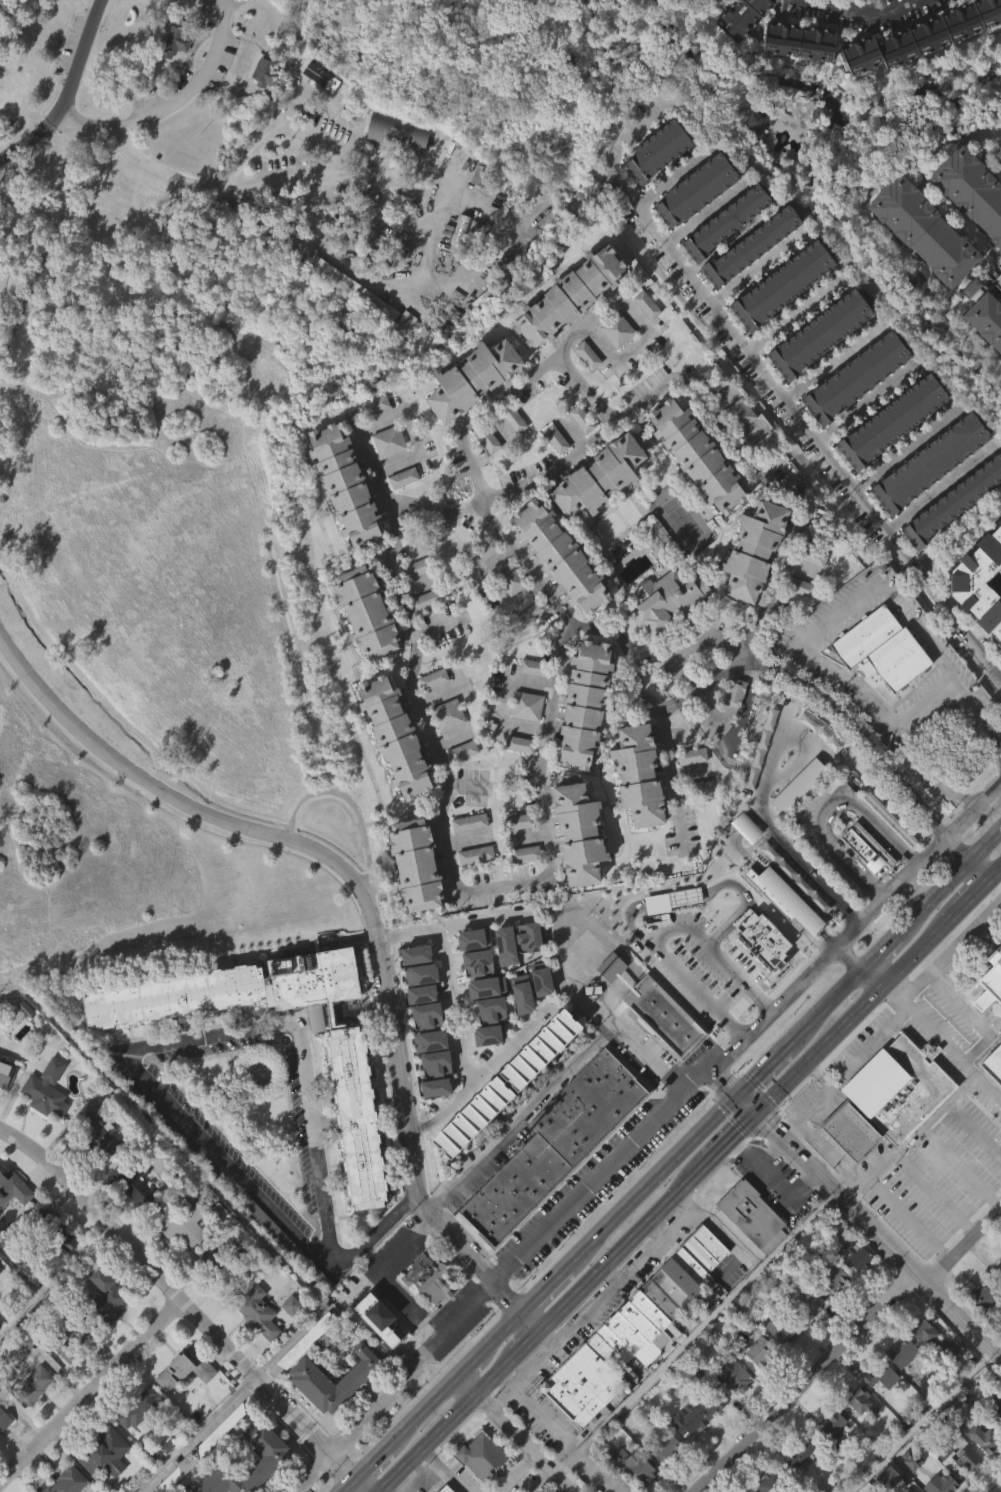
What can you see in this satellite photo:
road: (229, 4)
building: (806, 4)
road: (862, 9)
pier: (6, 10)
building: (741, 16)
building: (920, 34)
building: (173, 38)
building: (799, 40)
building: (746, 41)
road: (78, 63)
building: (921, 68)
building: (264, 71)
building: (796, 75)
building: (173, 76)
road: (173, 104)
building: (262, 107)
building: (317, 111)
building: (756, 121)
road: (627, 129)
building: (395, 133)
road: (25, 139)
building: (660, 151)
building: (756, 155)
building: (1000, 155)
building: (394, 168)
building: (484, 172)
road: (672, 176)
road: (304, 180)
building: (655, 185)
building: (970, 189)
building: (699, 191)
building: (478, 210)
road: (703, 214)
building: (692, 225)
building: (459, 228)
building: (921, 229)
road: (47, 241)
building: (754, 247)
building: (723, 256)
road: (424, 258)
building: (457, 263)
building: (921, 265)
road: (753, 272)
building: (748, 279)
building: (997, 280)
building: (784, 286)
building: (569, 297)
building: (483, 300)
building: (645, 304)
road: (793, 316)
building: (779, 319)
building: (985, 319)
building: (351, 323)
building: (616, 329)
building: (566, 330)
building: (481, 333)
building: (819, 334)
building: (644, 338)
road: (633, 346)
road: (567, 352)
building: (585, 354)
building: (985, 354)
road: (829, 360)
building: (614, 363)
building: (817, 368)
building: (856, 377)
building: (476, 379)
building: (712, 384)
building: (584, 389)
road: (863, 404)
building: (372, 405)
road: (478, 410)
building: (471, 411)
building: (853, 411)
building: (736, 415)
building: (712, 416)
building: (512, 418)
park: (229, 419)
building: (580, 419)
building: (893, 420)
road: (808, 428)
road: (408, 431)
building: (371, 438)
building: (486, 438)
building: (554, 439)
building: (387, 441)
road: (905, 446)
building: (737, 447)
building: (759, 447)
building: (579, 452)
building: (511, 453)
building: (699, 455)
building: (889, 455)
building: (928, 464)
road: (753, 469)
building: (485, 472)
building: (553, 472)
building: (604, 473)
building: (386, 475)
building: (402, 478)
building: (348, 483)
road: (937, 485)
building: (694, 489)
building: (927, 497)
road: (395, 502)
building: (951, 503)
building: (598, 508)
building: (400, 511)
building: (343, 519)
road: (961, 532)
building: (950, 536)
building: (758, 548)
building: (483, 552)
building: (565, 555)
building: (811, 556)
road: (528, 565)
building: (411, 570)
building: (511, 579)
building: (1000, 581)
building: (978, 585)
building: (478, 587)
building: (799, 587)
building: (558, 589)
building: (669, 598)
building: (425, 600)
building: (410, 603)
building: (368, 610)
building: (507, 613)
building: (530, 613)
road: (480, 620)
building: (797, 620)
building: (665, 631)
building: (423, 633)
road: (800, 639)
road: (753, 642)
road: (696, 644)
building: (364, 645)
building: (526, 648)
building: (881, 648)
building: (532, 667)
building: (434, 678)
building: (878, 682)
building: (736, 692)
road: (505, 702)
building: (588, 703)
building: (527, 705)
building: (430, 712)
building: (448, 714)
road: (979, 716)
road: (851, 724)
building: (732, 725)
building: (398, 736)
building: (520, 743)
building: (445, 748)
building: (463, 750)
building: (691, 756)
building: (393, 769)
building: (517, 777)
building: (641, 777)
road: (668, 779)
building: (460, 784)
road: (938, 785)
building: (696, 787)
road: (826, 804)
building: (518, 820)
building: (699, 820)
building: (796, 820)
building: (468, 821)
road: (769, 828)
building: (583, 834)
building: (867, 850)
building: (886, 852)
building: (474, 853)
building: (524, 853)
building: (743, 860)
building: (411, 862)
road: (447, 866)
building: (863, 881)
road: (949, 882)
building: (522, 887)
building: (472, 888)
road: (689, 896)
road: (747, 898)
road: (365, 901)
road: (635, 907)
building: (839, 909)
building: (802, 921)
road: (454, 925)
building: (781, 931)
road: (658, 932)
road: (950, 948)
road: (881, 952)
road: (850, 957)
building: (525, 970)
building: (470, 971)
building: (760, 971)
road: (874, 977)
building: (503, 978)
road: (572, 978)
building: (990, 979)
building: (413, 987)
building: (475, 996)
building: (608, 1000)
building: (418, 1007)
building: (657, 1008)
road: (826, 1008)
building: (539, 1011)
building: (989, 1012)
road: (973, 1018)
building: (484, 1019)
building: (418, 1026)
building: (519, 1027)
road: (512, 1039)
road: (873, 1041)
building: (488, 1042)
road: (942, 1043)
road: (461, 1045)
building: (422, 1047)
building: (660, 1047)
road: (301, 1058)
building: (993, 1063)
building: (486, 1067)
building: (4, 1070)
road: (763, 1070)
building: (427, 1073)
building: (352, 1078)
road: (725, 1080)
building: (537, 1082)
road: (550, 1082)
building: (895, 1086)
building: (44, 1089)
traffic signals: (740, 1094)
building: (433, 1096)
building: (992, 1097)
road: (768, 1099)
building: (4, 1104)
traffic signals: (758, 1109)
building: (433, 1120)
building: (44, 1122)
road: (804, 1122)
road: (973, 1129)
building: (849, 1131)
road: (640, 1132)
road: (910, 1137)
building: (97, 1139)
building: (552, 1145)
building: (354, 1149)
building: (460, 1160)
road: (227, 1162)
building: (846, 1164)
road: (959, 1167)
building: (95, 1169)
road: (765, 1169)
road: (654, 1179)
building: (8, 1184)
building: (133, 1184)
road: (934, 1192)
building: (751, 1215)
building: (130, 1217)
road: (908, 1218)
building: (13, 1221)
road: (871, 1222)
building: (181, 1224)
building: (53, 1229)
road: (656, 1230)
road: (375, 1234)
building: (216, 1243)
building: (749, 1248)
building: (258, 1250)
building: (856, 1255)
building: (181, 1258)
building: (219, 1267)
building: (60, 1268)
building: (997, 1271)
road: (613, 1272)
road: (626, 1276)
road: (382, 1277)
building: (427, 1277)
building: (832, 1278)
road: (543, 1289)
building: (854, 1291)
building: (107, 1296)
building: (983, 1296)
building: (998, 1298)
road: (185, 1303)
building: (808, 1306)
building: (426, 1310)
building: (255, 1312)
building: (827, 1315)
road: (528, 1322)
road: (704, 1322)
building: (380, 1325)
building: (781, 1326)
building: (104, 1328)
building: (980, 1330)
road: (500, 1332)
building: (631, 1332)
building: (288, 1338)
building: (807, 1339)
building: (930, 1339)
building: (70, 1340)
building: (304, 1340)
road: (546, 1340)
road: (285, 1341)
road: (527, 1343)
road: (844, 1343)
building: (255, 1344)
building: (328, 1345)
building: (375, 1351)
building: (759, 1351)
building: (901, 1352)
building: (777, 1362)
road: (469, 1364)
building: (185, 1368)
building: (926, 1368)
building: (307, 1373)
road: (497, 1373)
building: (731, 1374)
building: (309, 1376)
building: (881, 1376)
building: (63, 1381)
building: (31, 1384)
road: (468, 1384)
building: (757, 1384)
building: (900, 1385)
road: (90, 1390)
building: (181, 1400)
building: (997, 1400)
building: (859, 1401)
building: (712, 1402)
building: (730, 1407)
building: (879, 1409)
building: (140, 1410)
building: (307, 1411)
building: (32, 1416)
road: (920, 1418)
building: (3, 1420)
building: (999, 1420)
building: (687, 1421)
building: (834, 1427)
road: (194, 1433)
road: (399, 1433)
road: (550, 1434)
building: (858, 1434)
building: (710, 1435)
building: (984, 1439)
building: (137, 1442)
road: (427, 1442)
road: (526, 1442)
building: (109, 1449)
building: (198, 1449)
building: (664, 1450)
building: (801, 1450)
building: (3, 1452)
building: (479, 1455)
building: (685, 1455)
building: (273, 1456)
building: (969, 1457)
building: (831, 1458)
road: (561, 1461)
building: (630, 1463)
road: (442, 1470)
building: (981, 1471)
road: (516, 1472)
building: (263, 1473)
road: (420, 1476)
building: (890, 1476)
building: (104, 1479)
road: (543, 1480)
building: (65, 1481)
building: (478, 1481)
building: (664, 1481)
building: (770, 1482)
building: (799, 1482)
building: (940, 1484)
building: (618, 1485)
building: (632, 1488)
building: (443, 1489)
building: (907, 1490)
road: (377, 1491)

